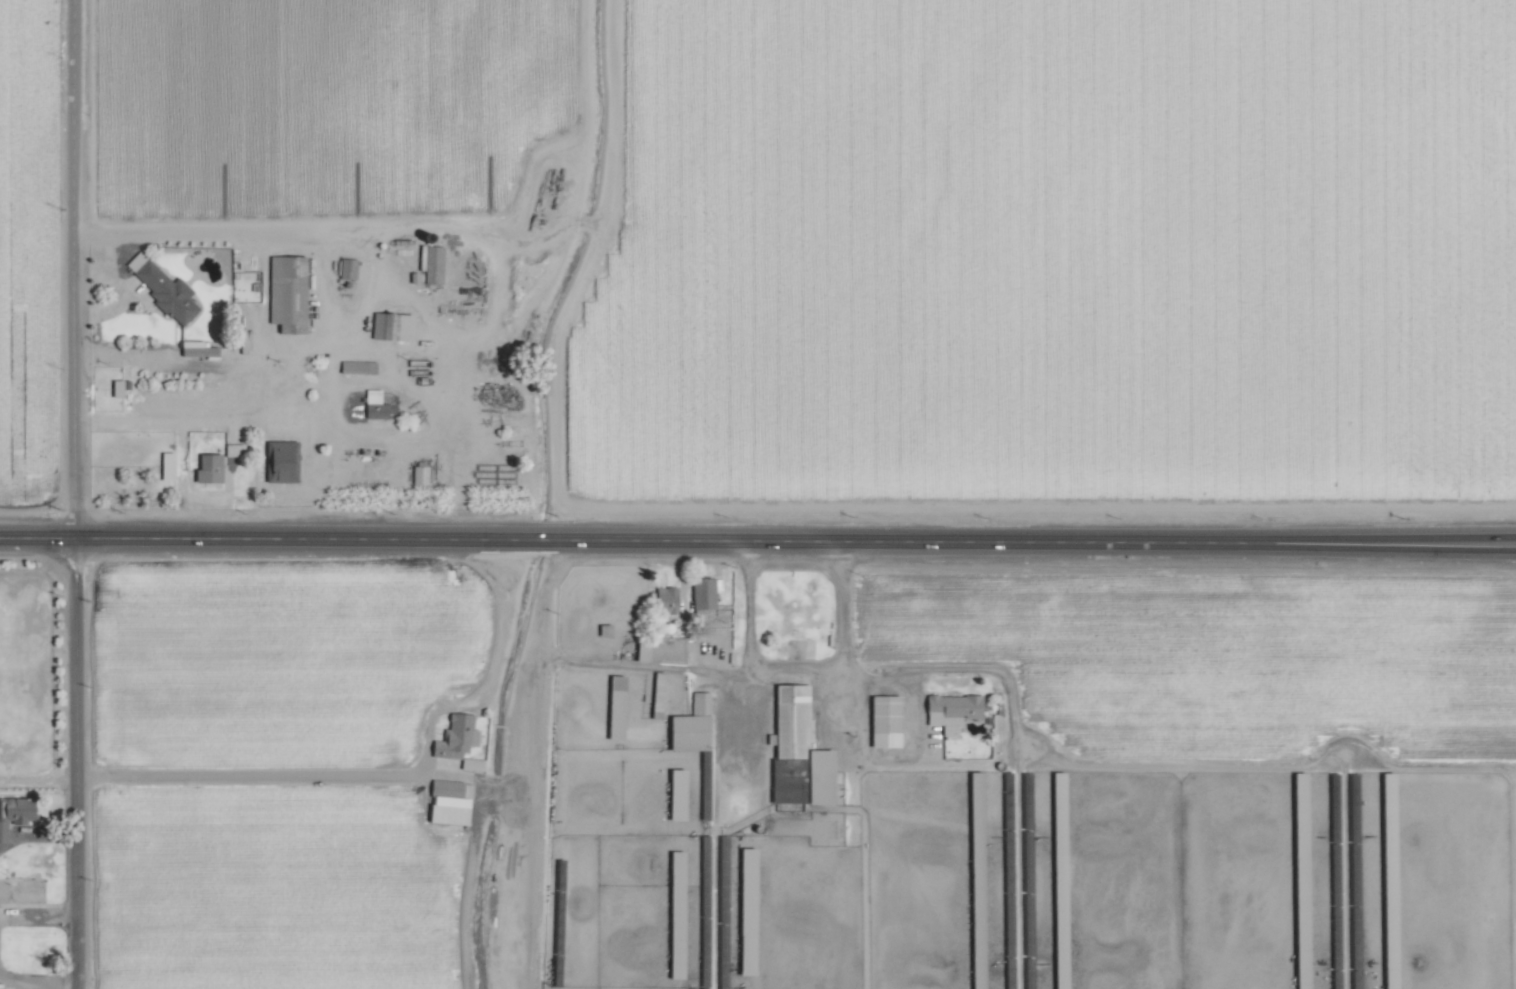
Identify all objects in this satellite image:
road: (424, 227)
building: (431, 265)
building: (345, 269)
building: (159, 288)
road: (118, 290)
building: (284, 294)
building: (388, 327)
building: (113, 389)
building: (372, 405)
building: (231, 450)
building: (278, 462)
building: (164, 466)
building: (205, 469)
road: (75, 494)
crop: (758, 494)
road: (266, 539)
road: (549, 539)
road: (1040, 541)
building: (701, 593)
building: (665, 598)
road: (552, 662)
road: (969, 668)
road: (798, 670)
building: (654, 690)
building: (698, 702)
building: (611, 707)
building: (949, 708)
building: (788, 719)
building: (881, 720)
building: (455, 740)
road: (1078, 761)
road: (385, 772)
building: (818, 777)
building: (448, 789)
building: (673, 794)
building: (14, 812)
building: (443, 813)
building: (21, 891)
building: (672, 914)

